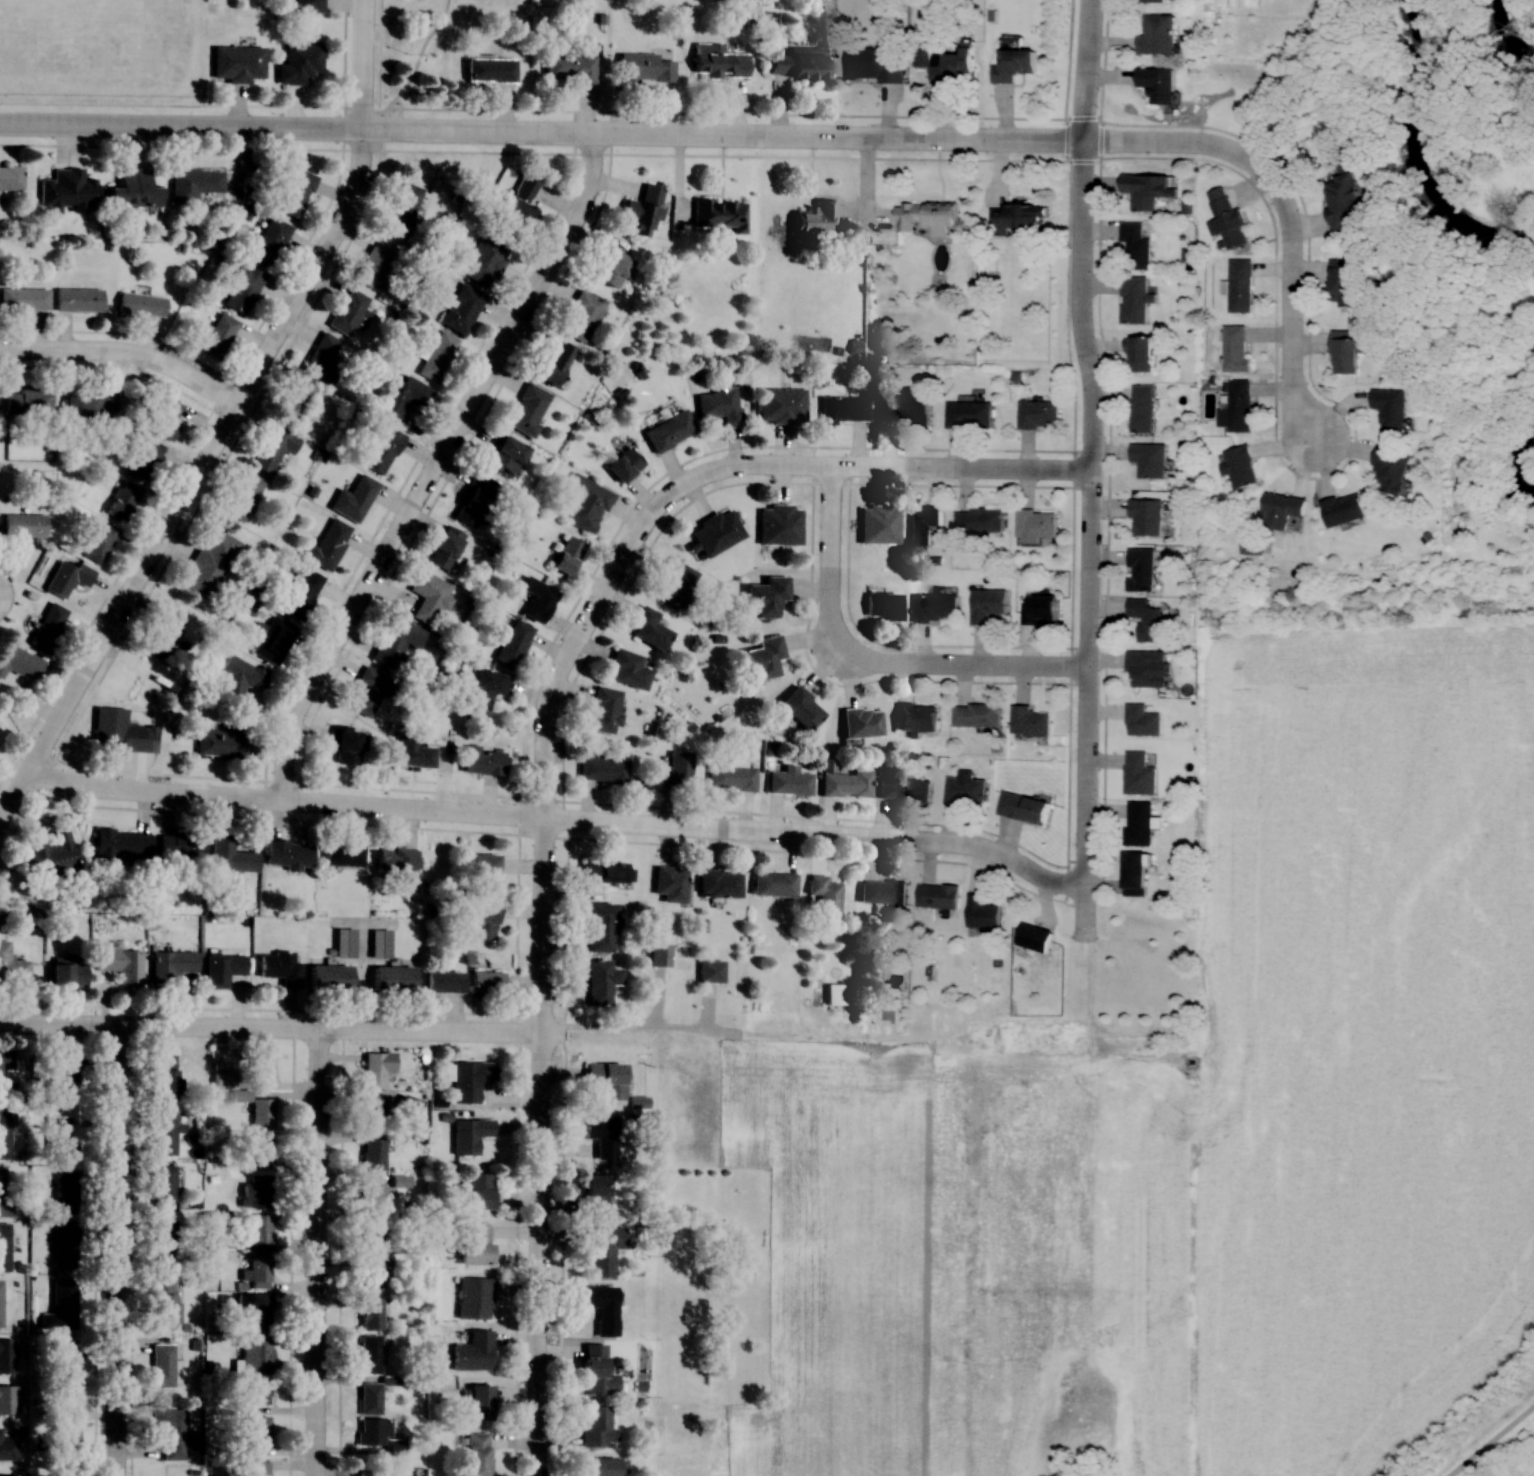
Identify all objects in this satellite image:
building: (1155, 0)
building: (309, 6)
building: (1157, 34)
park: (416, 57)
building: (943, 60)
building: (719, 61)
building: (875, 61)
building: (237, 63)
building: (798, 63)
building: (299, 64)
building: (1013, 64)
building: (571, 66)
building: (644, 68)
building: (490, 70)
road: (414, 73)
building: (1157, 84)
road: (540, 134)
building: (11, 177)
building: (193, 184)
building: (1148, 189)
building: (67, 190)
building: (133, 190)
building: (296, 193)
building: (520, 201)
building: (1344, 201)
building: (403, 208)
building: (643, 210)
building: (719, 215)
road: (1285, 215)
building: (926, 216)
building: (1018, 217)
building: (815, 219)
building: (1227, 219)
building: (269, 241)
building: (1136, 245)
building: (485, 259)
building: (377, 264)
building: (612, 266)
building: (1346, 282)
building: (1239, 285)
building: (241, 287)
building: (24, 299)
building: (78, 300)
building: (1134, 300)
building: (140, 305)
building: (461, 308)
building: (348, 312)
building: (582, 317)
building: (217, 335)
building: (1235, 349)
building: (1349, 351)
road: (123, 354)
building: (1141, 354)
building: (324, 357)
building: (437, 357)
building: (553, 364)
building: (400, 395)
building: (28, 400)
building: (295, 401)
building: (89, 403)
building: (719, 405)
building: (782, 406)
building: (1236, 406)
building: (1141, 408)
building: (1390, 408)
building: (844, 409)
building: (904, 409)
building: (528, 410)
building: (1037, 414)
building: (968, 415)
building: (163, 418)
road: (224, 422)
building: (669, 431)
building: (272, 449)
building: (381, 451)
building: (504, 456)
building: (1149, 460)
road: (428, 466)
building: (623, 466)
building: (1240, 467)
building: (1391, 470)
building: (243, 496)
building: (353, 499)
building: (122, 501)
building: (475, 501)
building: (585, 503)
building: (1282, 509)
building: (1345, 509)
building: (1147, 517)
building: (979, 520)
building: (877, 524)
building: (24, 525)
building: (779, 525)
building: (923, 525)
building: (1036, 525)
building: (716, 533)
building: (97, 541)
building: (328, 545)
building: (1251, 546)
building: (444, 547)
road: (625, 553)
building: (566, 555)
building: (210, 562)
building: (1141, 570)
building: (66, 578)
building: (673, 586)
building: (302, 595)
building: (767, 597)
building: (429, 598)
building: (539, 603)
building: (987, 604)
building: (882, 607)
building: (934, 608)
building: (1040, 610)
building: (1147, 620)
building: (47, 627)
building: (648, 629)
building: (164, 635)
building: (271, 639)
building: (395, 641)
building: (514, 644)
building: (765, 658)
road: (868, 660)
building: (19, 662)
building: (1144, 667)
building: (627, 669)
building: (240, 676)
building: (488, 687)
building: (368, 691)
building: (800, 709)
building: (602, 710)
building: (976, 715)
building: (917, 717)
building: (1143, 721)
building: (861, 722)
building: (1030, 722)
building: (116, 728)
building: (223, 741)
building: (345, 745)
road: (1084, 753)
building: (413, 754)
building: (481, 762)
building: (602, 770)
building: (676, 770)
building: (1136, 772)
building: (732, 778)
building: (789, 782)
building: (845, 782)
building: (904, 790)
building: (964, 791)
building: (1023, 807)
road: (559, 821)
building: (1138, 823)
building: (121, 845)
building: (180, 846)
building: (288, 854)
building: (341, 854)
building: (52, 856)
building: (230, 856)
building: (395, 859)
building: (481, 865)
building: (606, 871)
building: (1134, 873)
building: (671, 884)
building: (719, 884)
building: (774, 885)
building: (883, 893)
building: (825, 895)
building: (937, 896)
building: (983, 913)
building: (483, 921)
building: (600, 928)
building: (1036, 938)
building: (343, 943)
building: (379, 944)
building: (659, 955)
building: (121, 965)
building: (171, 966)
building: (12, 968)
building: (222, 968)
building: (279, 968)
building: (710, 971)
building: (68, 973)
building: (328, 978)
building: (392, 979)
building: (442, 982)
building: (599, 982)
building: (486, 983)
road: (368, 1031)
building: (261, 1067)
building: (376, 1070)
building: (1, 1076)
building: (163, 1078)
building: (61, 1080)
building: (605, 1080)
building: (470, 1081)
building: (407, 1107)
building: (261, 1114)
building: (370, 1115)
building: (164, 1133)
building: (4, 1135)
building: (470, 1136)
building: (604, 1137)
building: (57, 1138)
building: (259, 1148)
building: (372, 1153)
building: (2, 1184)
building: (163, 1188)
building: (480, 1191)
building: (65, 1193)
building: (256, 1193)
building: (371, 1195)
building: (593, 1196)
building: (255, 1229)
building: (370, 1235)
building: (221, 1240)
building: (162, 1243)
building: (476, 1244)
building: (64, 1247)
building: (4, 1248)
road: (102, 1251)
building: (601, 1251)
road: (316, 1252)
road: (538, 1255)
building: (259, 1273)
building: (371, 1274)
building: (475, 1299)
building: (0, 1303)
building: (164, 1303)
building: (61, 1306)
building: (602, 1308)
building: (256, 1312)
building: (371, 1314)
building: (474, 1353)
building: (256, 1355)
building: (369, 1355)
building: (6, 1356)
building: (67, 1364)
building: (162, 1365)
building: (596, 1371)
building: (258, 1391)
building: (369, 1398)
building: (7, 1399)
building: (476, 1404)
building: (66, 1427)
building: (596, 1427)
building: (258, 1431)
building: (174, 1433)
building: (377, 1435)
road: (1495, 1442)
building: (8, 1448)
building: (478, 1454)
building: (600, 1466)
building: (257, 1468)
building: (8, 1475)

